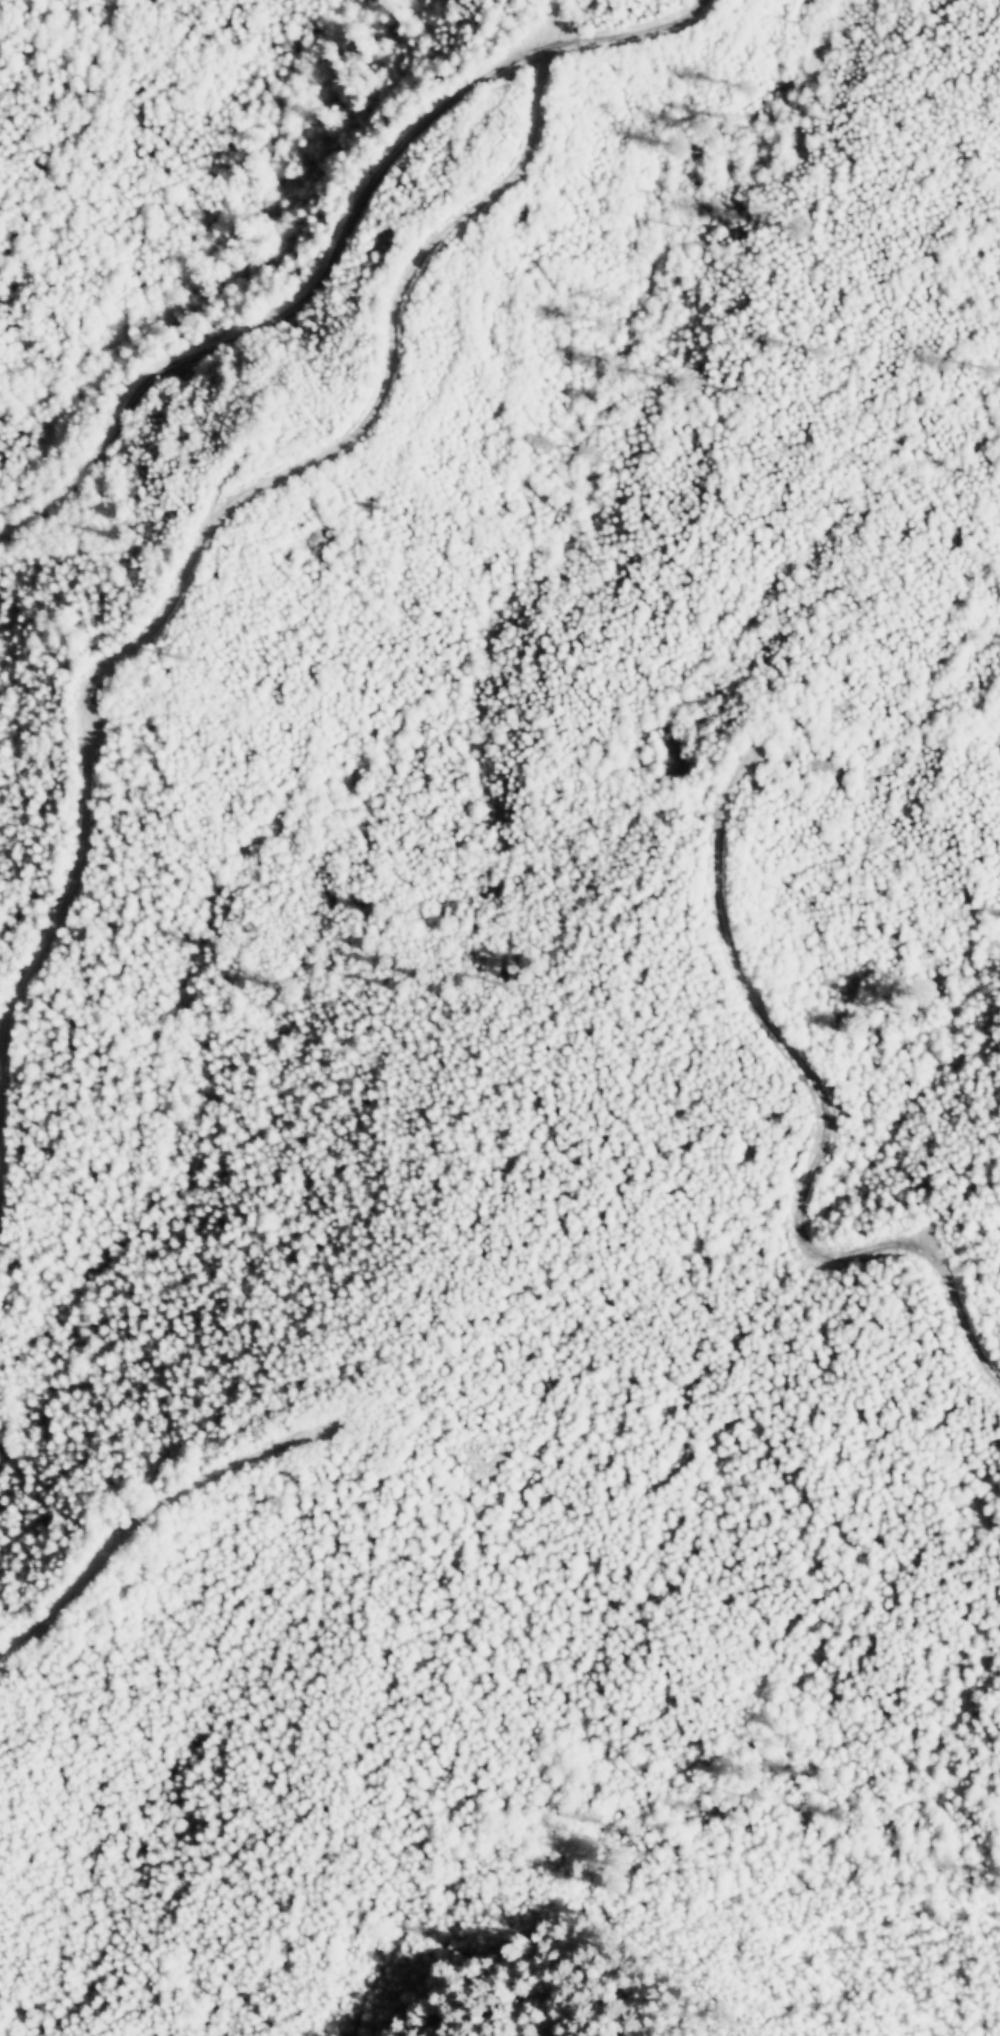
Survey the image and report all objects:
road: (341, 244)
road: (210, 523)
road: (825, 1115)
road: (157, 1513)

